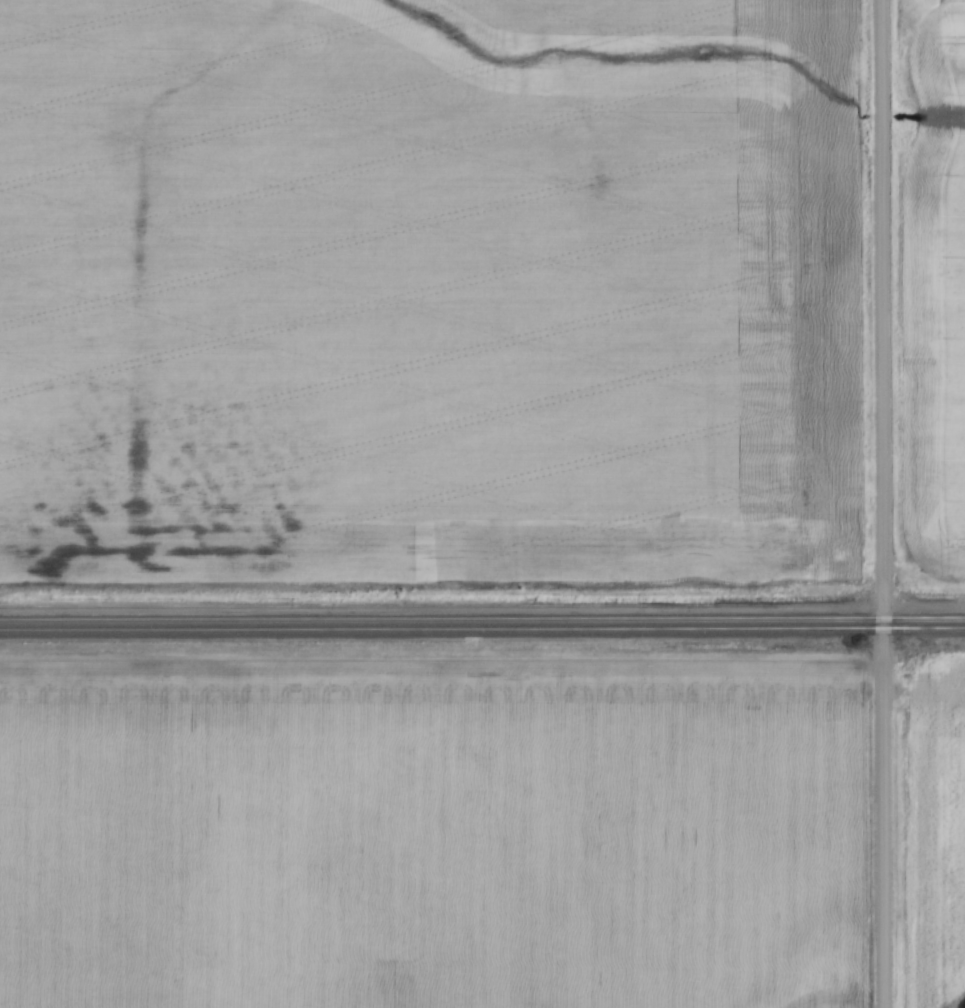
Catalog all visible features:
road: (880, 504)
railway: (482, 616)
railway: (482, 630)

